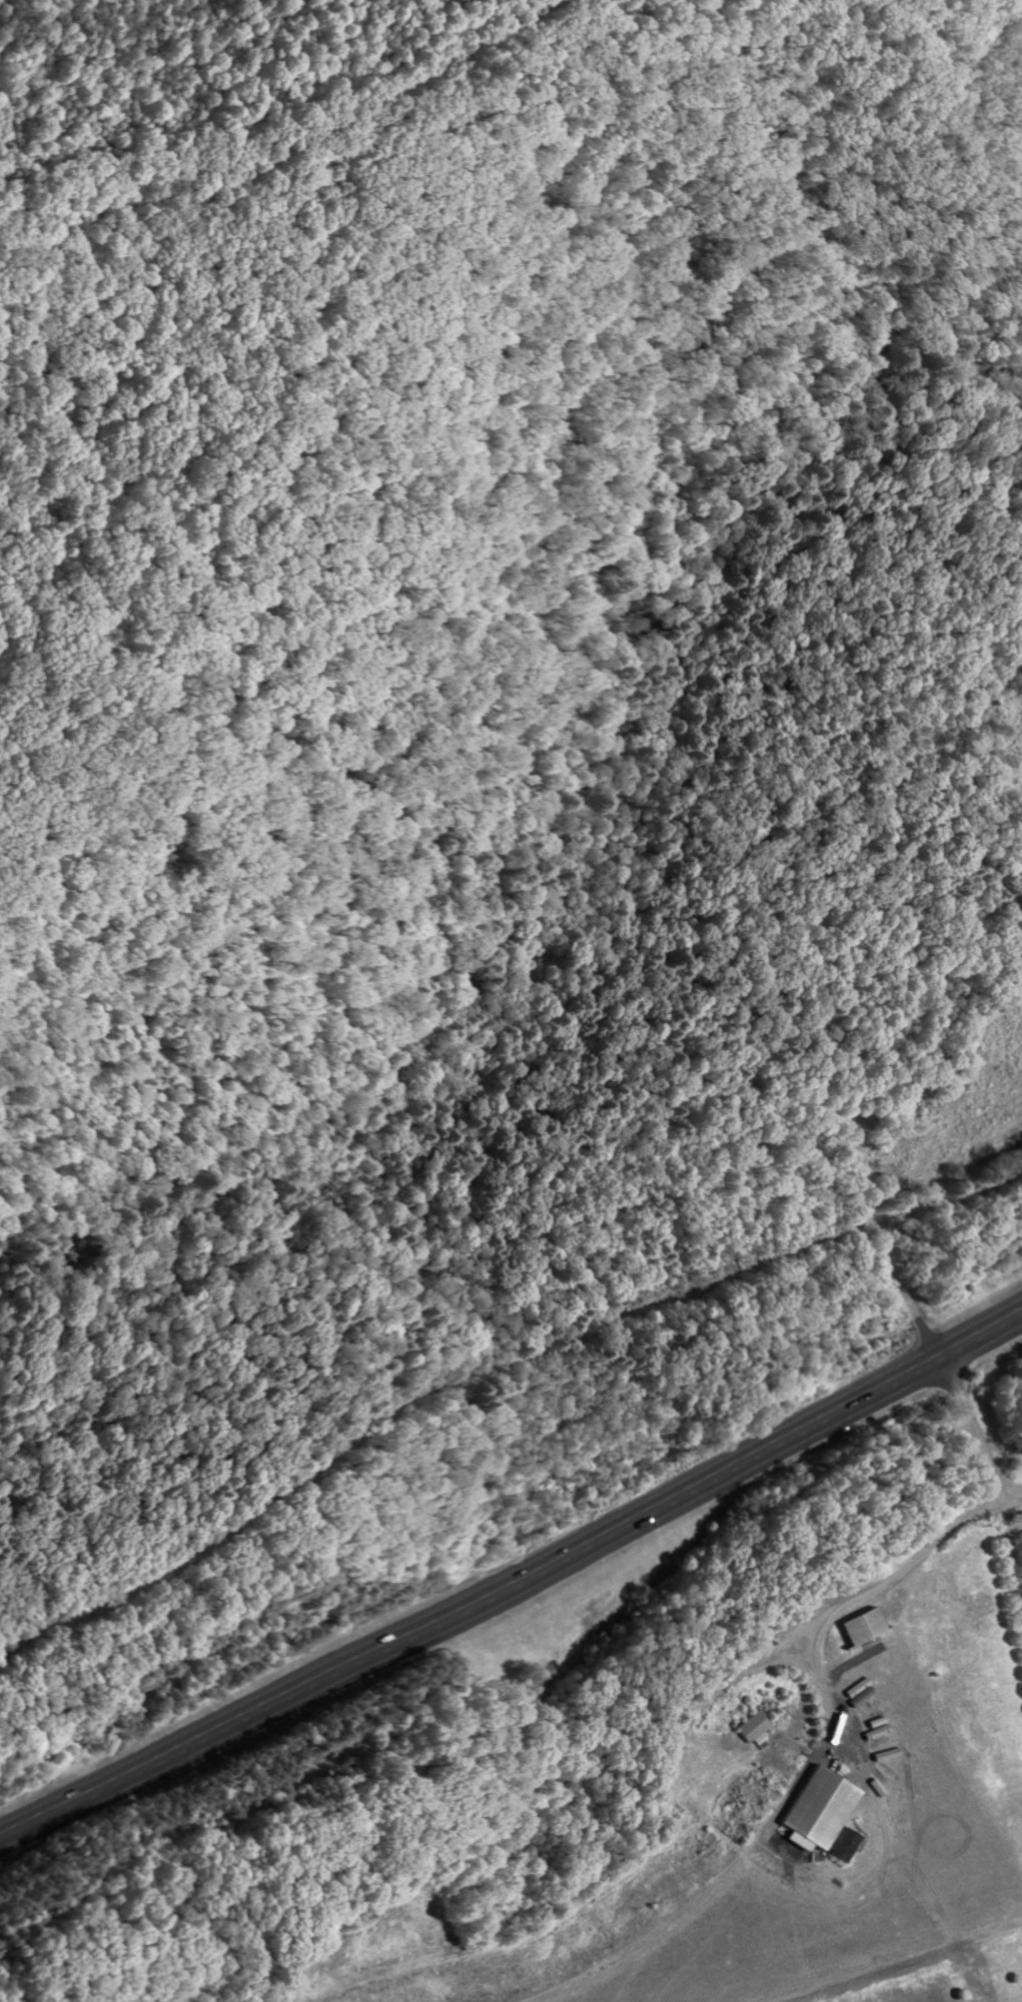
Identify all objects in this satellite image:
road: (1001, 1444)
road: (988, 1459)
road: (512, 1583)
road: (871, 1592)
building: (864, 1630)
road: (727, 1685)
building: (761, 1730)
building: (819, 1812)
building: (845, 1849)
airport runway: (848, 1950)

